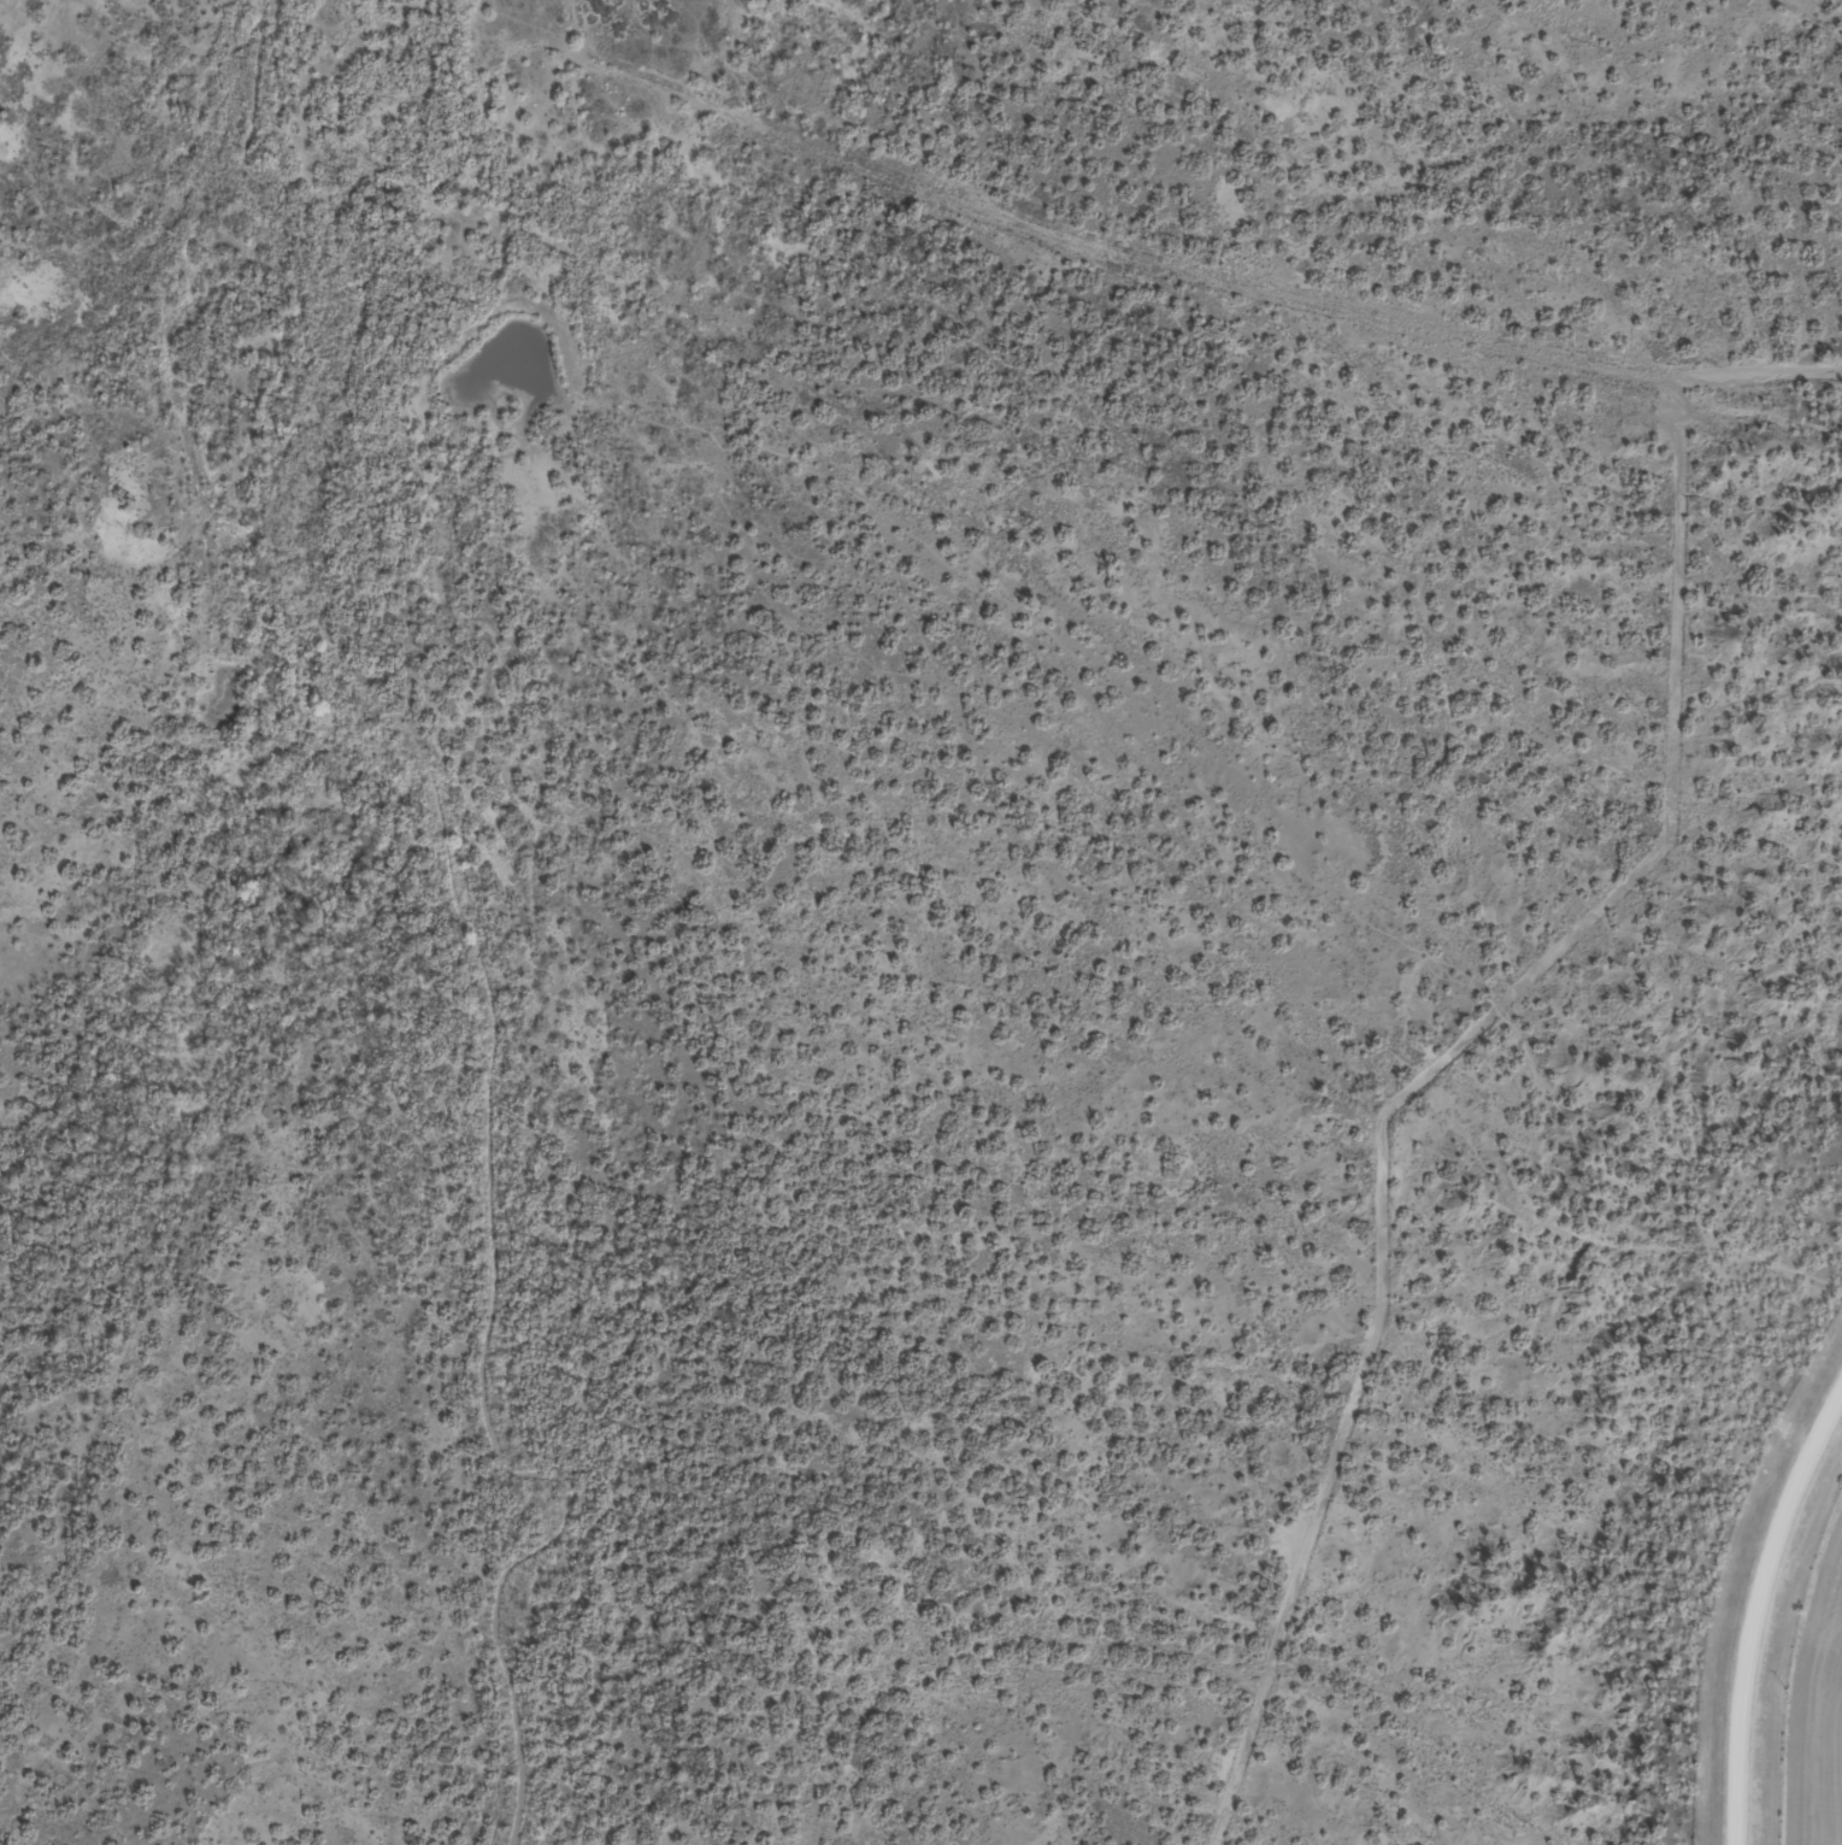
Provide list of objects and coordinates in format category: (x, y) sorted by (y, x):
road: (1758, 1614)

